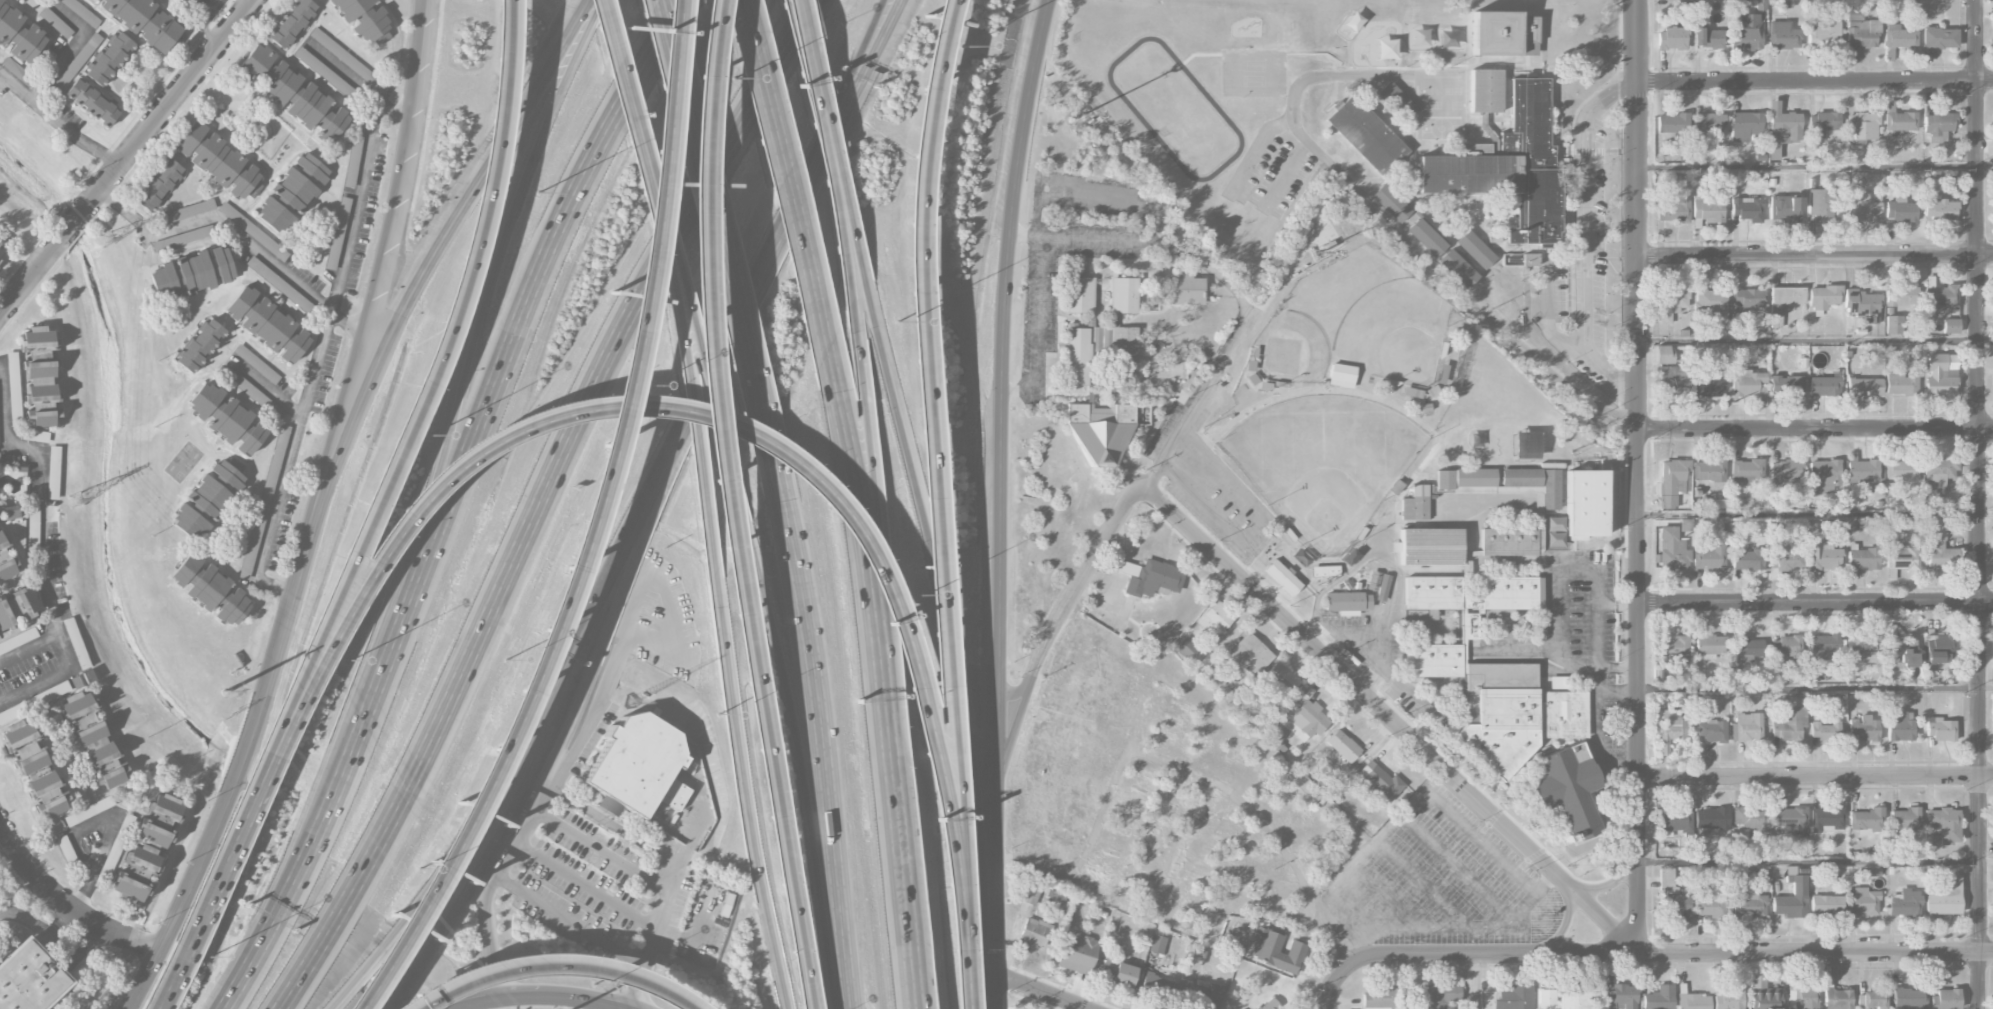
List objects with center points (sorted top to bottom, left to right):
building: (18, 0)
building: (187, 0)
building: (1992, 7)
building: (82, 12)
road: (673, 15)
building: (365, 19)
building: (145, 21)
road: (203, 21)
building: (1992, 22)
building: (292, 23)
building: (57, 24)
building: (20, 32)
building: (1503, 33)
building: (1746, 33)
building: (1861, 33)
building: (1823, 34)
building: (1706, 36)
building: (1782, 36)
building: (1899, 37)
building: (1939, 38)
building: (1671, 39)
street lamp: (960, 45)
road: (68, 52)
building: (109, 58)
building: (345, 58)
road: (808, 61)
building: (324, 72)
road: (344, 74)
road: (1319, 75)
street lamp: (733, 78)
road: (1815, 82)
road: (845, 90)
road: (854, 90)
building: (1485, 90)
building: (292, 93)
building: (1396, 100)
building: (92, 102)
road: (170, 102)
road: (633, 120)
road: (58, 122)
building: (1708, 123)
building: (1899, 123)
building: (1671, 125)
building: (1744, 125)
building: (1821, 125)
building: (1938, 126)
building: (1781, 129)
building: (1992, 129)
building: (1860, 132)
building: (1366, 134)
road: (1257, 149)
road: (491, 156)
road: (660, 160)
building: (219, 161)
building: (1507, 165)
road: (1985, 165)
road: (1807, 166)
road: (787, 182)
building: (159, 185)
street lamp: (537, 192)
building: (293, 193)
road: (1092, 193)
road: (360, 195)
building: (1392, 202)
building: (1821, 204)
road: (847, 207)
building: (1784, 208)
building: (1747, 209)
building: (1707, 210)
building: (1900, 210)
building: (1939, 210)
building: (189, 211)
building: (1672, 211)
building: (1860, 211)
road: (839, 220)
road: (71, 226)
building: (337, 229)
road: (235, 231)
road: (717, 235)
road: (1583, 235)
road: (1022, 236)
building: (260, 237)
building: (1427, 237)
building: (184, 238)
power tower: (106, 239)
building: (1, 247)
building: (1476, 249)
road: (1815, 255)
road: (1436, 267)
building: (1458, 268)
building: (261, 270)
building: (192, 273)
road: (27, 280)
building: (1186, 289)
building: (1081, 294)
building: (1124, 294)
building: (1992, 295)
road: (368, 296)
building: (1901, 296)
building: (1823, 297)
building: (1747, 298)
building: (1941, 298)
building: (1710, 301)
building: (1784, 301)
building: (1670, 304)
building: (1863, 305)
road: (1040, 314)
street lamp: (896, 322)
building: (268, 325)
building: (1893, 325)
building: (1950, 326)
road: (474, 331)
road: (1986, 338)
park: (1299, 339)
road: (1807, 341)
building: (1125, 343)
park: (1403, 343)
building: (200, 345)
building: (1664, 354)
building: (1078, 356)
building: (257, 364)
building: (1341, 375)
building: (41, 376)
building: (1938, 377)
building: (1672, 381)
building: (1746, 383)
building: (1901, 383)
street lamp: (643, 385)
building: (1786, 385)
road: (708, 386)
building: (1823, 386)
building: (14, 387)
building: (1706, 387)
building: (1864, 387)
road: (1018, 388)
road: (268, 390)
building: (253, 393)
road: (1200, 398)
road: (418, 404)
road: (671, 407)
road: (696, 407)
road: (692, 412)
building: (227, 419)
building: (1104, 428)
road: (1815, 429)
building: (36, 435)
road: (934, 444)
building: (1525, 445)
road: (338, 447)
parking lot: (1210, 456)
road: (288, 462)
park: (1322, 463)
building: (1900, 469)
road: (998, 470)
building: (1863, 470)
building: (1708, 471)
building: (1785, 471)
building: (1746, 472)
building: (1823, 475)
building: (1937, 475)
building: (1464, 477)
road: (1637, 478)
building: (1670, 482)
building: (1534, 483)
building: (265, 498)
power tower: (75, 500)
building: (208, 500)
road: (539, 501)
road: (447, 502)
building: (1415, 503)
building: (1585, 504)
road: (1980, 504)
road: (724, 506)
building: (11, 512)
road: (1986, 512)
road: (918, 514)
road: (1256, 524)
building: (1509, 540)
building: (1429, 546)
building: (1938, 547)
road: (46, 548)
building: (1671, 551)
building: (1708, 554)
building: (1823, 556)
building: (1785, 558)
building: (1862, 558)
building: (1902, 558)
building: (6, 559)
building: (1747, 560)
road: (1355, 562)
building: (1325, 571)
road: (887, 576)
building: (1149, 577)
building: (1283, 577)
building: (1379, 585)
building: (211, 589)
street lamp: (916, 594)
road: (873, 600)
road: (1554, 601)
building: (1347, 602)
road: (1816, 602)
building: (18, 608)
building: (1218, 616)
road: (1056, 619)
road: (1314, 619)
parking lot: (660, 620)
road: (628, 627)
road: (1381, 629)
road: (601, 644)
building: (1709, 644)
building: (1747, 646)
building: (1785, 646)
building: (1675, 647)
building: (1824, 647)
road: (30, 649)
building: (1862, 649)
building: (1188, 650)
building: (1900, 650)
building: (1250, 655)
street lamp: (506, 660)
building: (1741, 660)
road: (535, 663)
road: (1615, 668)
building: (1491, 674)
building: (1281, 677)
building: (83, 679)
road: (1593, 679)
road: (1815, 686)
power tower: (224, 692)
street lamp: (719, 715)
building: (1308, 719)
building: (1788, 724)
building: (1671, 725)
building: (1899, 727)
building: (1746, 728)
building: (1864, 728)
building: (1940, 729)
building: (1712, 730)
building: (1824, 730)
road: (815, 739)
building: (1275, 739)
building: (95, 740)
road: (1594, 743)
building: (1343, 746)
building: (638, 764)
building: (36, 768)
road: (1181, 768)
road: (796, 770)
road: (1816, 777)
building: (1380, 784)
building: (1565, 790)
road: (748, 797)
building: (1335, 799)
road: (222, 803)
building: (1711, 819)
building: (1749, 819)
building: (1826, 819)
building: (1905, 819)
road: (699, 820)
building: (1789, 820)
road: (112, 821)
building: (160, 821)
building: (1675, 821)
building: (1867, 821)
road: (484, 823)
road: (614, 824)
building: (1943, 825)
road: (467, 827)
road: (1476, 835)
road: (980, 839)
road: (1518, 840)
road: (603, 849)
road: (1986, 861)
street lamp: (419, 869)
building: (137, 872)
road: (220, 878)
road: (1542, 880)
road: (490, 883)
road: (1608, 883)
road: (586, 885)
parking lot: (608, 890)
building: (1030, 894)
building: (1055, 896)
building: (1671, 897)
building: (1792, 898)
building: (1944, 898)
building: (1748, 902)
building: (1863, 903)
building: (1904, 903)
road: (66, 904)
building: (1709, 904)
building: (1826, 905)
road: (1334, 917)
road: (570, 920)
road: (916, 922)
building: (1034, 933)
road: (94, 935)
road: (45, 936)
road: (654, 936)
building: (1157, 944)
building: (1276, 949)
road: (963, 950)
building: (1201, 954)
building: (1077, 955)
road: (1467, 956)
street lamp: (209, 957)
road: (549, 964)
building: (1117, 973)
road: (990, 977)
building: (28, 979)
road: (171, 988)
building: (1158, 988)
road: (1038, 990)
building: (1442, 995)
road: (538, 996)
building: (1201, 996)
building: (1622, 996)
building: (1514, 997)
building: (1802, 997)
building: (1659, 998)
building: (1764, 998)
building: (1837, 998)
building: (1908, 998)
building: (1374, 999)
building: (1406, 999)
building: (1562, 999)
building: (1875, 999)
building: (1948, 999)
building: (1694, 1001)
building: (1268, 1005)

